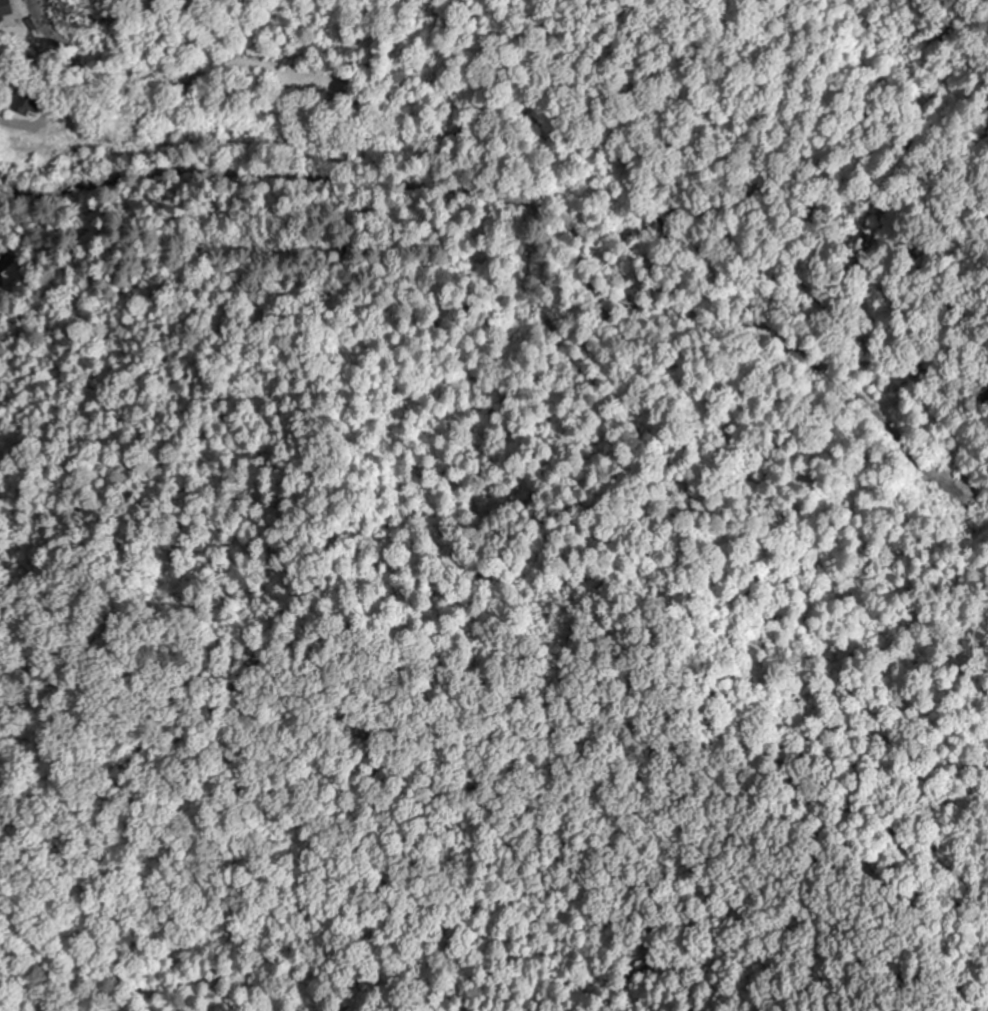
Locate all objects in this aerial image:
building: (6, 9)
building: (25, 104)

